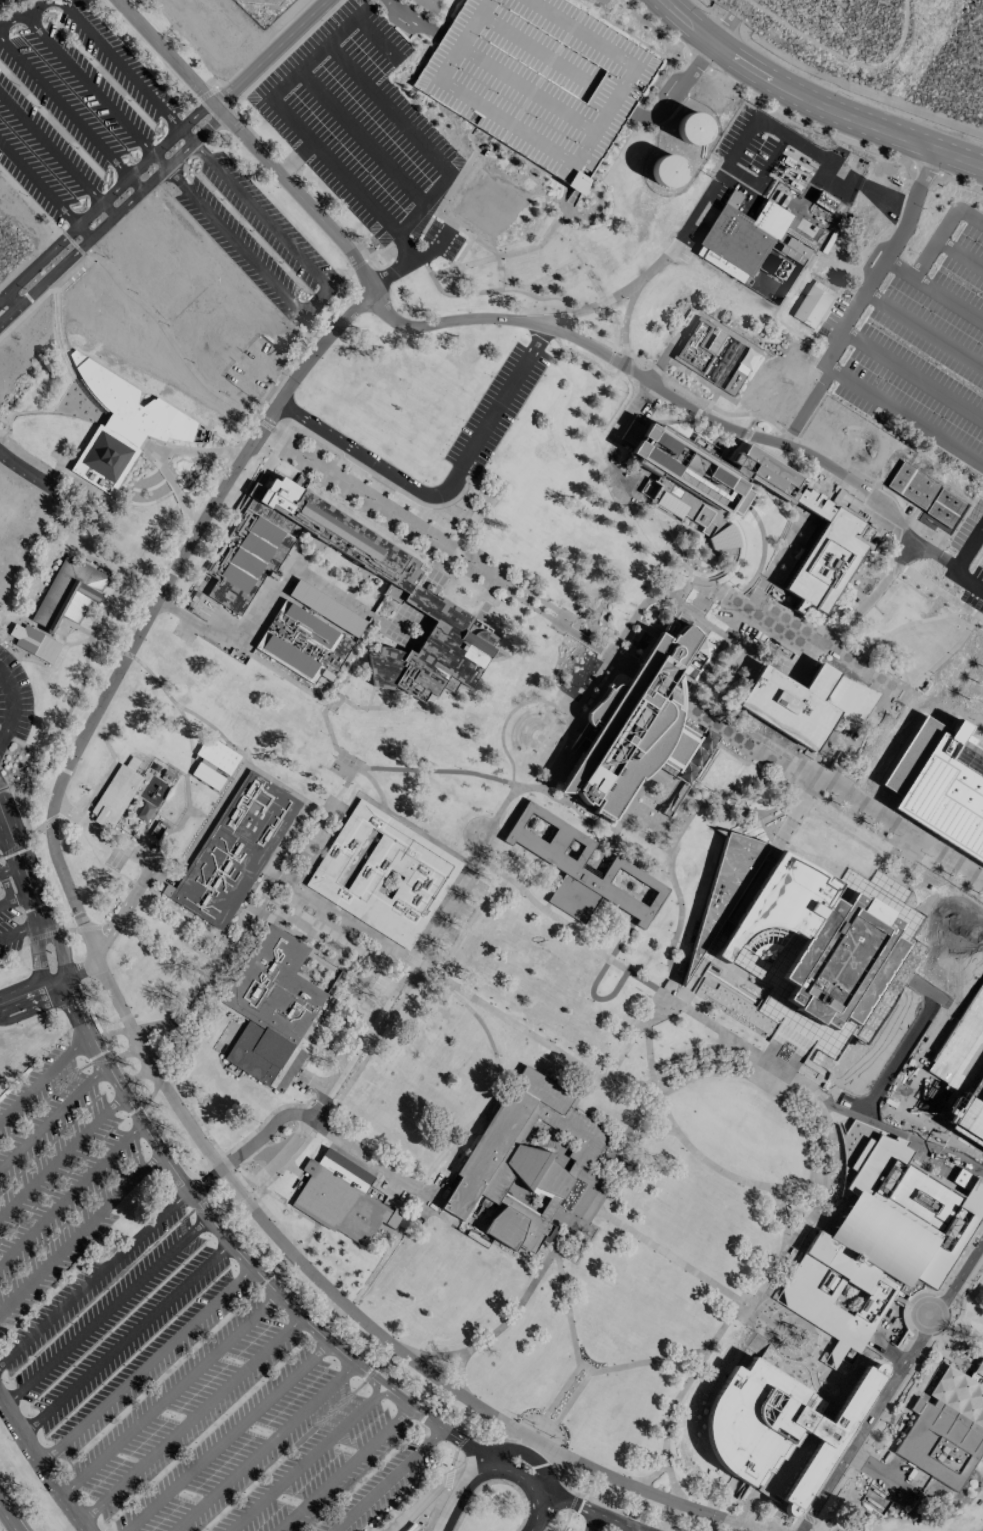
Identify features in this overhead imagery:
road: (372, 2)
solar farm: (263, 9)
road: (26, 13)
road: (415, 19)
road: (701, 19)
road: (679, 27)
road: (376, 38)
road: (318, 51)
road: (273, 52)
road: (840, 52)
road: (169, 53)
road: (689, 78)
building: (538, 81)
parking lot: (538, 81)
parking lot: (75, 108)
road: (387, 108)
road: (845, 113)
road: (70, 114)
road: (793, 118)
parking lot: (359, 124)
building: (692, 128)
road: (362, 136)
road: (56, 152)
road: (295, 157)
road: (332, 166)
building: (666, 170)
road: (453, 184)
road: (45, 188)
road: (301, 194)
road: (105, 196)
building: (825, 201)
road: (911, 204)
road: (416, 212)
road: (111, 215)
road: (970, 217)
road: (692, 220)
road: (466, 233)
road: (934, 243)
building: (752, 248)
power plant: (752, 248)
building: (794, 250)
road: (462, 251)
road: (505, 253)
road: (960, 254)
road: (412, 256)
road: (415, 262)
road: (898, 268)
road: (499, 272)
road: (551, 274)
road: (874, 275)
road: (598, 292)
road: (13, 299)
road: (948, 299)
road: (311, 304)
building: (813, 304)
road: (591, 306)
road: (852, 310)
road: (624, 322)
road: (923, 329)
road: (597, 338)
parking lot: (918, 345)
building: (717, 356)
road: (912, 375)
road: (815, 388)
road: (672, 396)
road: (502, 398)
parking lot: (492, 415)
road: (905, 416)
building: (123, 426)
road: (234, 450)
road: (157, 451)
road: (370, 460)
road: (24, 473)
building: (705, 479)
building: (913, 485)
building: (945, 508)
road: (967, 545)
building: (256, 546)
road: (445, 547)
road: (675, 550)
parking lot: (967, 552)
building: (824, 553)
road: (761, 556)
road: (966, 582)
road: (939, 592)
building: (69, 593)
road: (871, 597)
road: (152, 613)
road: (777, 623)
road: (903, 623)
building: (310, 633)
building: (35, 642)
road: (88, 643)
building: (975, 643)
building: (434, 652)
road: (243, 653)
building: (970, 656)
road: (939, 660)
road: (875, 665)
road: (600, 668)
road: (657, 684)
road: (164, 690)
road: (338, 696)
building: (806, 704)
road: (11, 709)
parking lot: (13, 712)
road: (508, 715)
building: (636, 728)
road: (215, 730)
road: (858, 734)
road: (745, 742)
building: (217, 754)
road: (252, 768)
road: (436, 769)
road: (792, 772)
building: (208, 776)
building: (943, 788)
building: (115, 795)
road: (829, 795)
road: (334, 799)
road: (798, 806)
road: (5, 835)
road: (104, 835)
road: (604, 849)
building: (234, 850)
building: (565, 861)
road: (11, 868)
building: (383, 874)
road: (475, 874)
road: (896, 880)
building: (725, 885)
road: (675, 886)
road: (6, 889)
road: (33, 892)
building: (742, 897)
road: (23, 899)
road: (531, 900)
road: (6, 906)
road: (122, 912)
road: (250, 916)
parking lot: (10, 918)
road: (24, 931)
building: (812, 942)
road: (594, 950)
road: (36, 958)
road: (79, 967)
road: (616, 986)
road: (31, 990)
road: (681, 996)
road: (941, 998)
building: (272, 1009)
road: (979, 1012)
road: (37, 1015)
road: (798, 1021)
road: (979, 1021)
road: (711, 1024)
road: (160, 1025)
road: (807, 1026)
parking lot: (974, 1041)
road: (544, 1043)
road: (771, 1056)
road: (786, 1066)
road: (815, 1069)
road: (44, 1076)
road: (630, 1083)
road: (495, 1091)
road: (489, 1114)
road: (854, 1114)
road: (52, 1115)
road: (260, 1123)
road: (646, 1131)
road: (249, 1145)
road: (687, 1145)
road: (61, 1152)
road: (284, 1152)
road: (945, 1152)
road: (263, 1153)
road: (363, 1154)
road: (225, 1161)
building: (513, 1161)
road: (293, 1168)
road: (70, 1193)
road: (272, 1194)
road: (255, 1195)
building: (340, 1198)
road: (587, 1199)
road: (784, 1217)
road: (80, 1230)
road: (306, 1240)
building: (879, 1244)
road: (237, 1251)
road: (376, 1268)
road: (94, 1275)
road: (333, 1285)
road: (106, 1310)
road: (731, 1314)
road: (762, 1316)
road: (373, 1328)
road: (126, 1338)
parking lot: (164, 1345)
road: (458, 1354)
road: (146, 1365)
road: (584, 1367)
road: (891, 1385)
road: (373, 1390)
road: (170, 1393)
road: (413, 1394)
road: (192, 1418)
road: (546, 1423)
building: (778, 1425)
building: (947, 1428)
road: (541, 1431)
road: (225, 1436)
road: (462, 1441)
road: (262, 1447)
road: (527, 1453)
road: (308, 1457)
road: (453, 1457)
road: (42, 1463)
road: (665, 1465)
road: (342, 1468)
road: (448, 1477)
road: (525, 1478)
road: (387, 1480)
road: (428, 1494)
road: (455, 1500)
road: (572, 1501)
road: (600, 1503)
road: (436, 1509)
road: (590, 1510)
road: (11, 1514)
road: (564, 1521)
road: (592, 1521)
road: (628, 1529)

